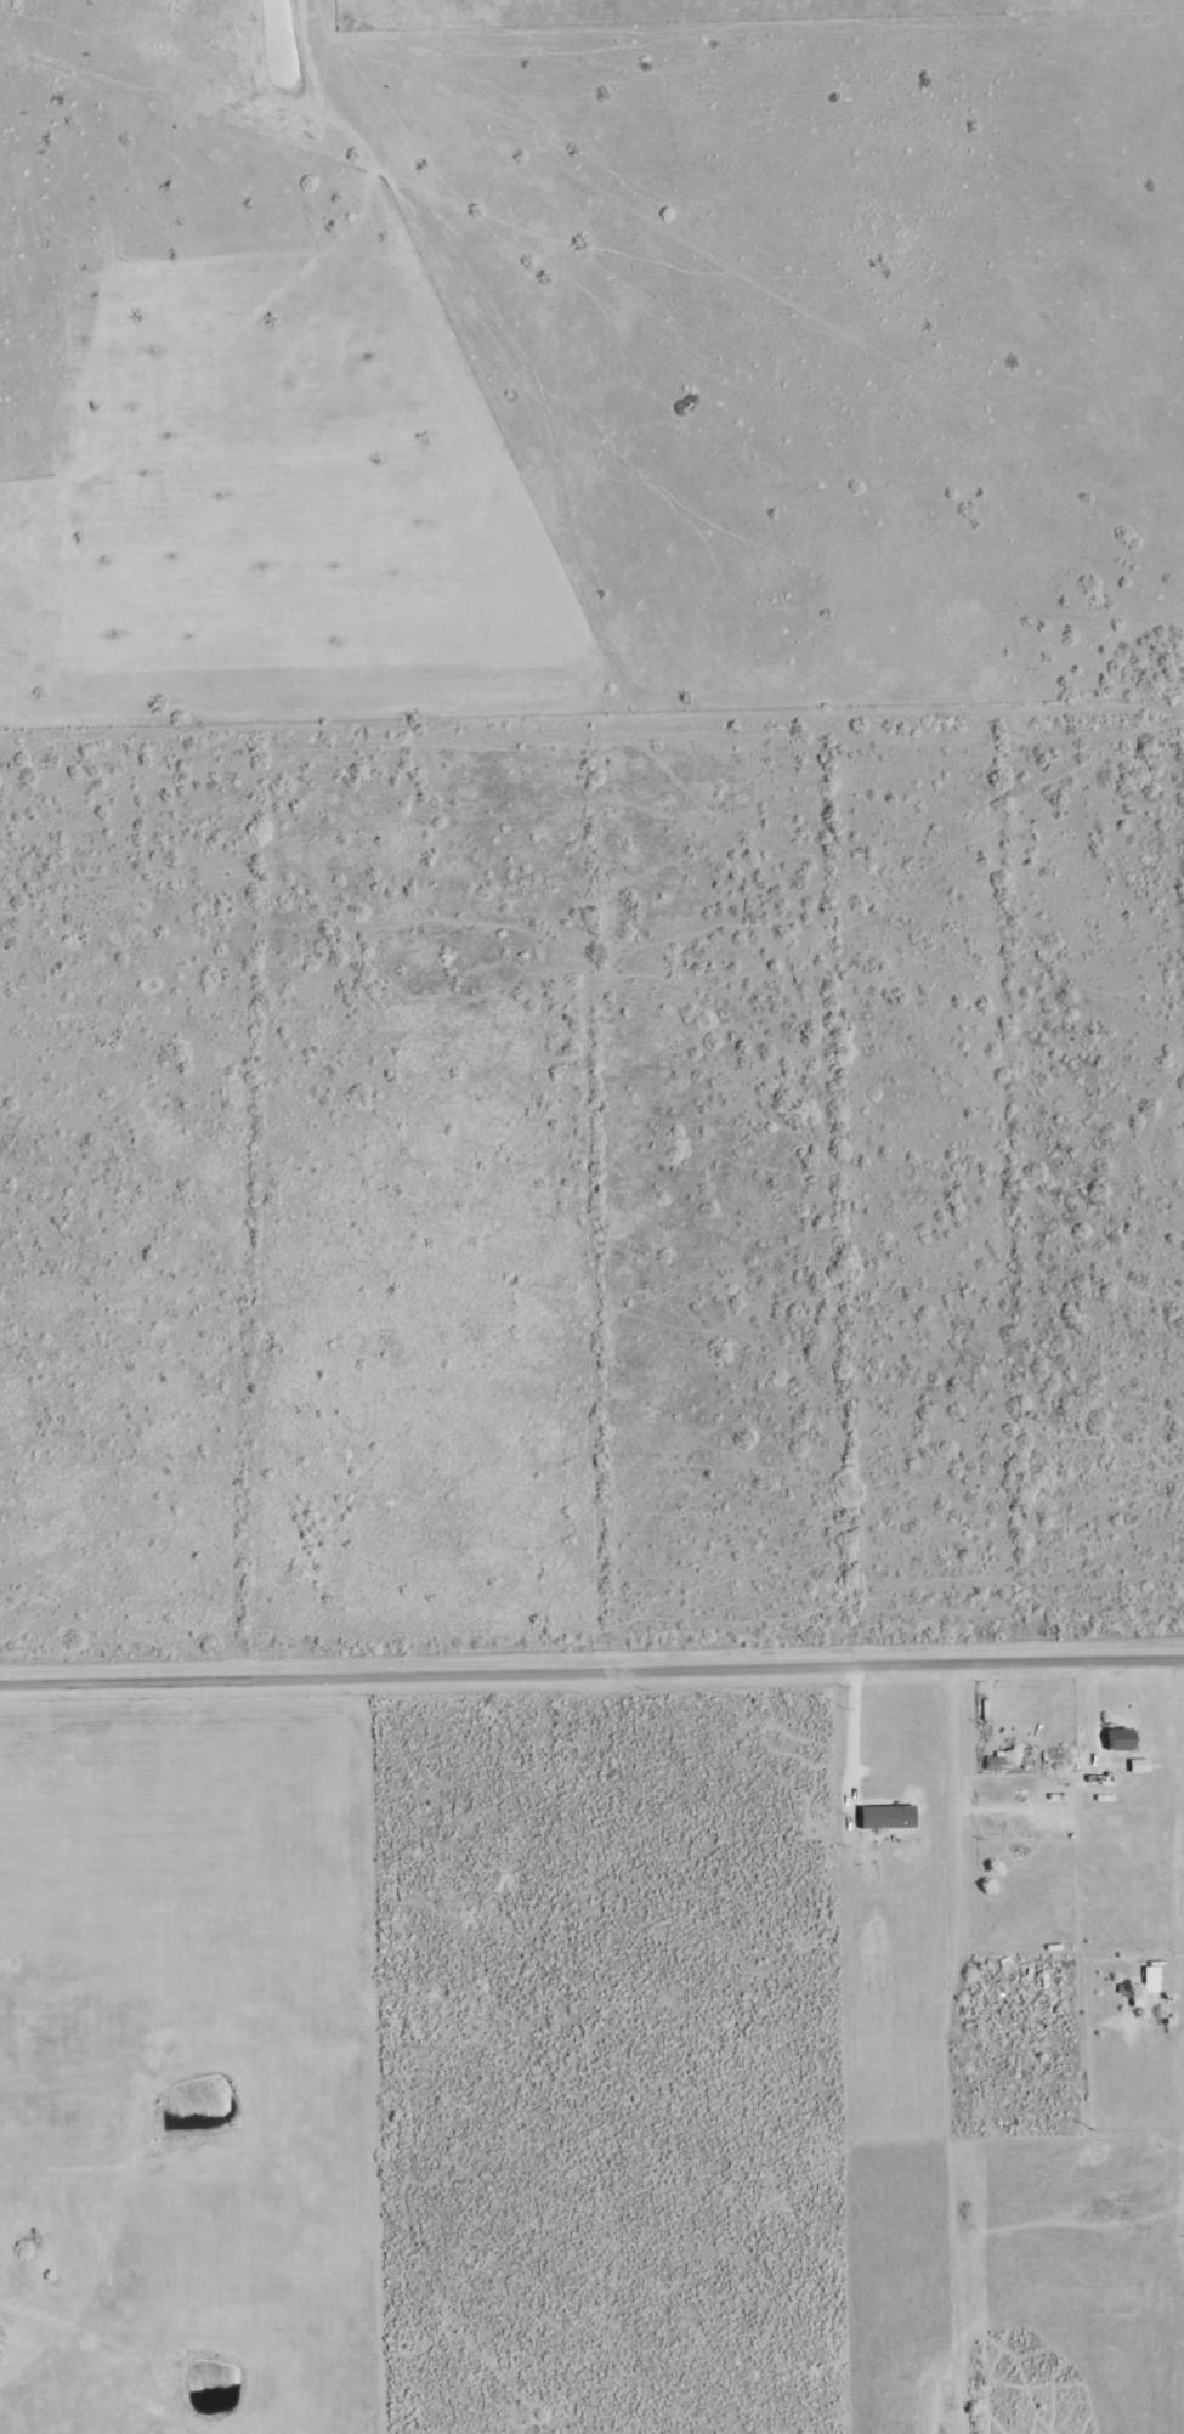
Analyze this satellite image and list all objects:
road: (591, 1668)
building: (1117, 1740)
building: (997, 1764)
building: (1138, 1766)
building: (886, 1818)
building: (1150, 1980)

